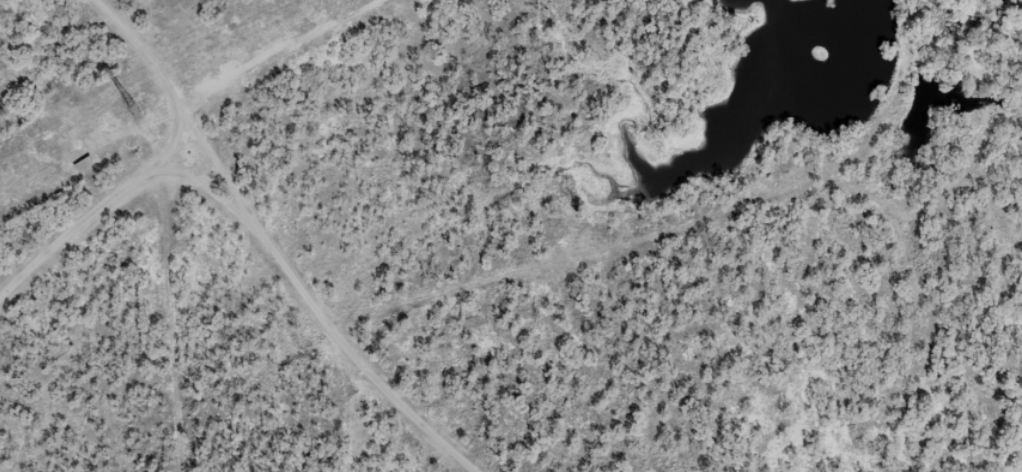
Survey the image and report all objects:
power tower: (137, 112)
building: (80, 172)
road: (90, 233)
road: (280, 252)

